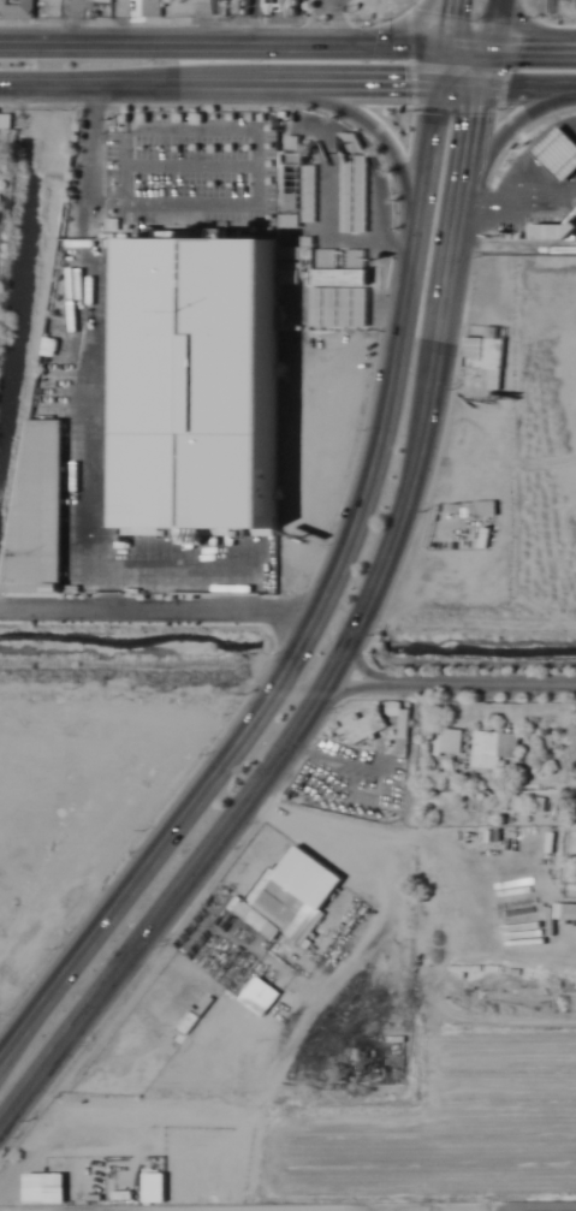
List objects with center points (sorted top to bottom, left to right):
gas station: (560, 152)
crop: (335, 1144)

